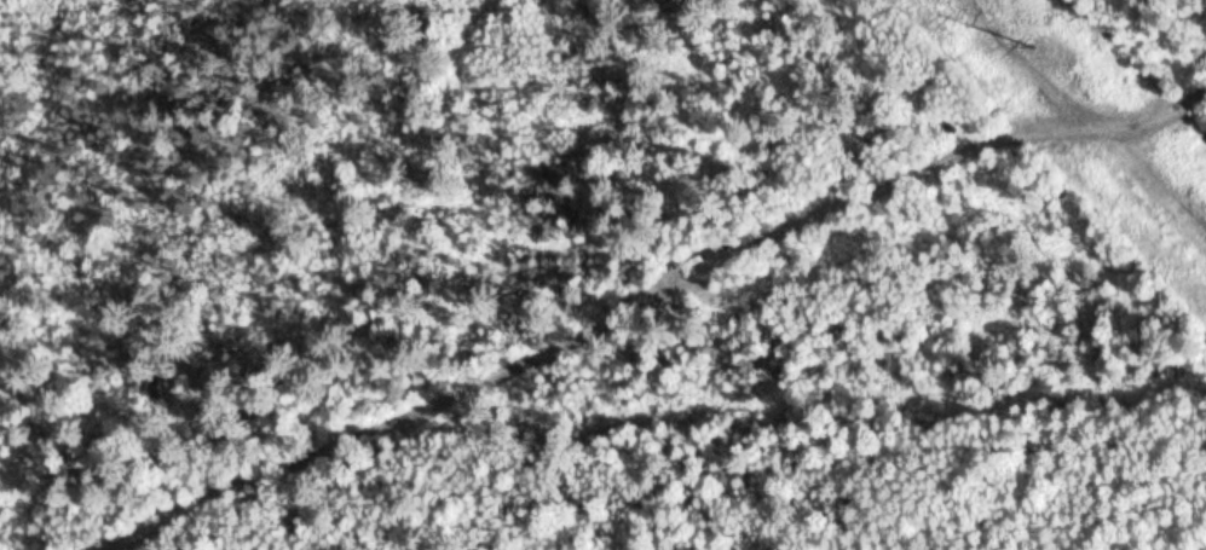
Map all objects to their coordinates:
power tower: (1034, 44)
road: (1101, 60)
road: (670, 303)

